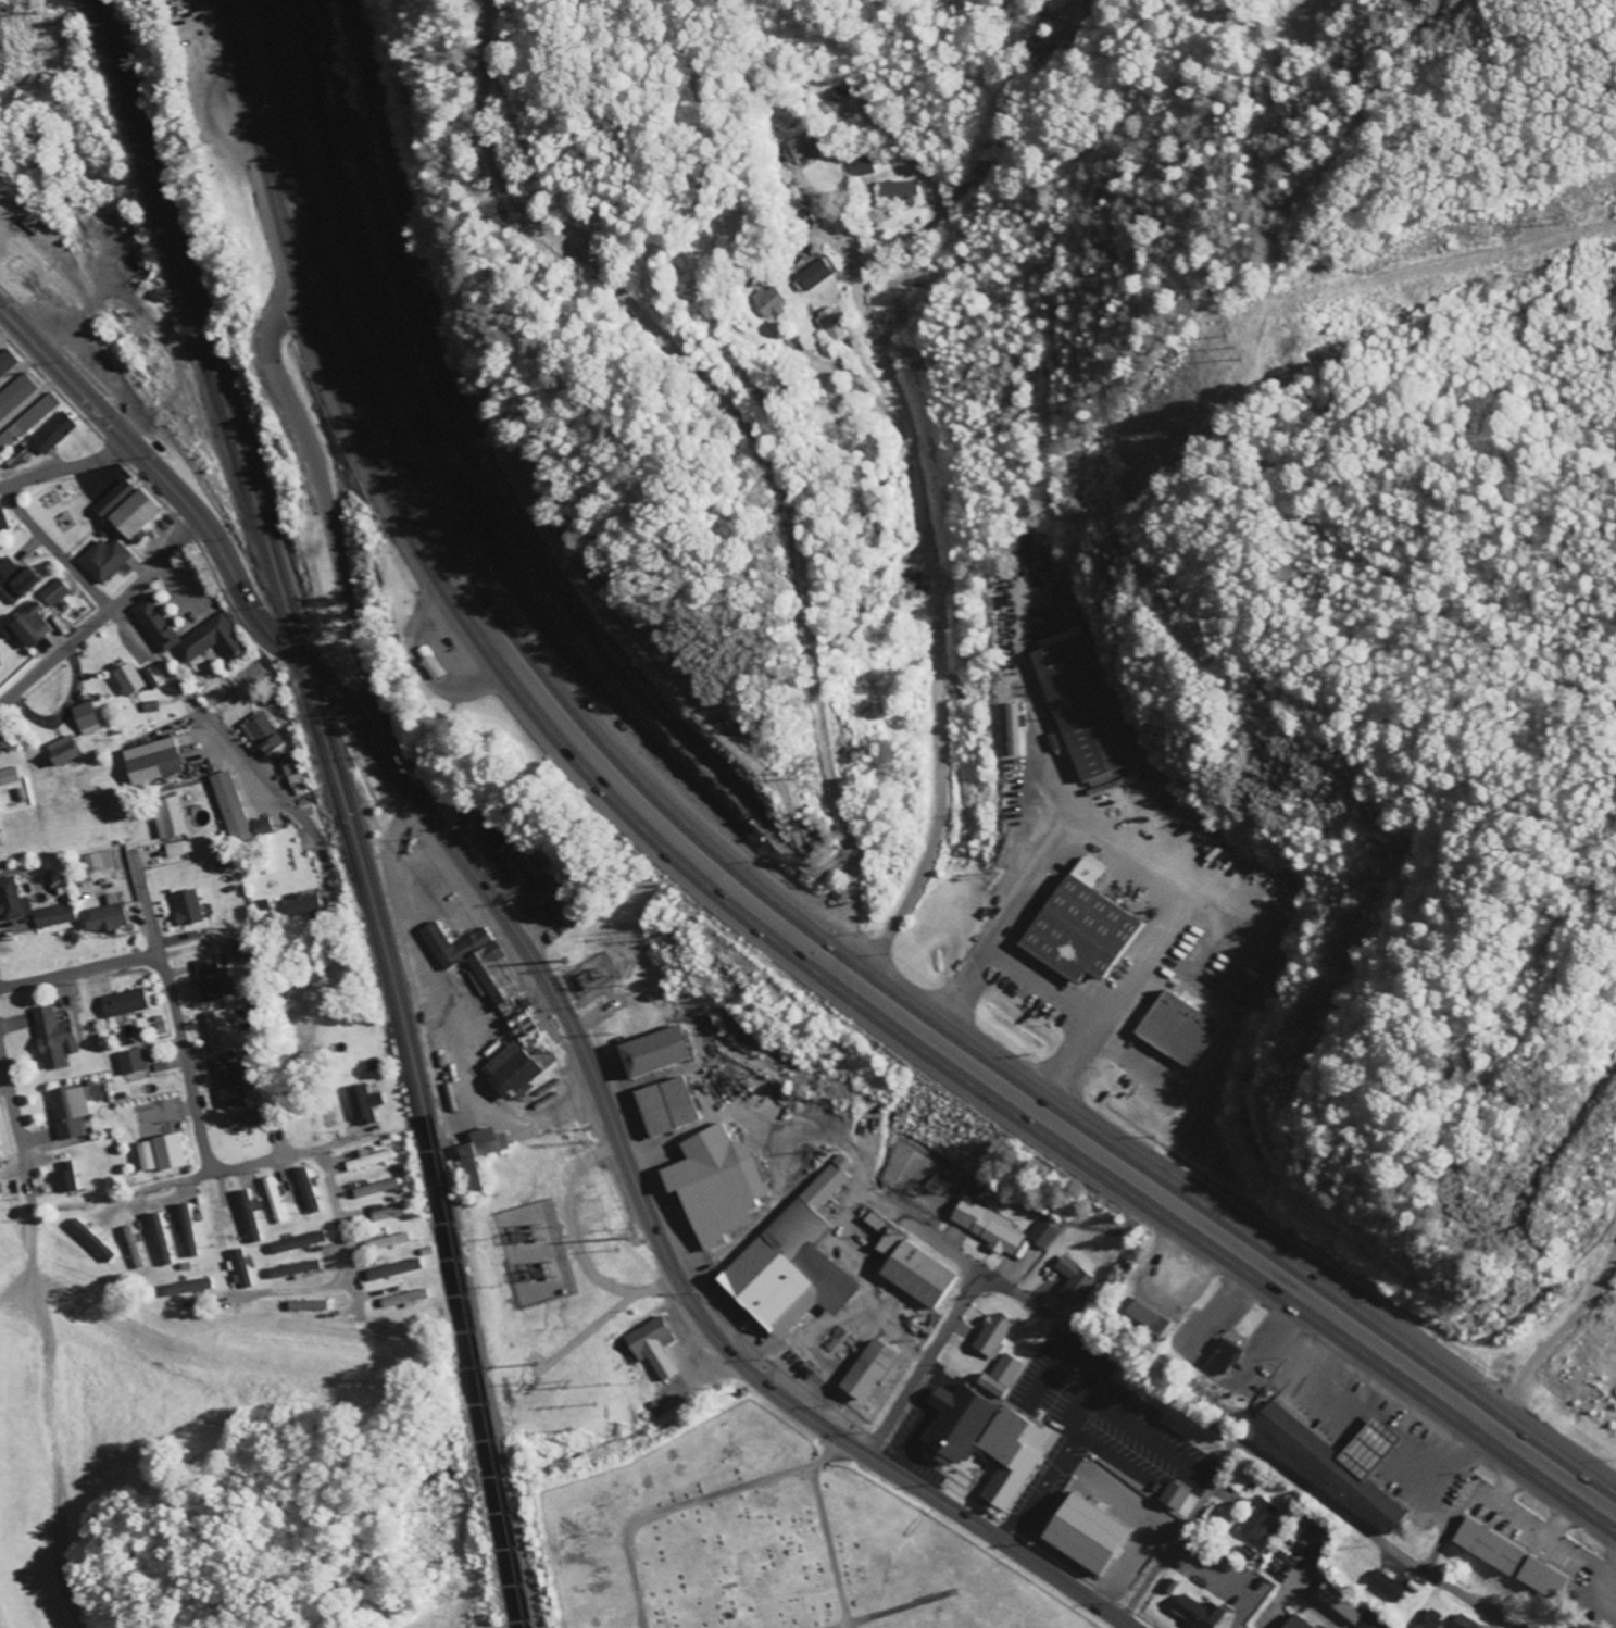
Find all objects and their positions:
road: (994, 146)
building: (799, 148)
building: (861, 165)
building: (898, 191)
building: (813, 274)
building: (767, 301)
building: (830, 322)
building: (5, 361)
building: (15, 393)
building: (27, 422)
building: (52, 433)
road: (64, 468)
road: (323, 491)
building: (126, 511)
building: (2, 522)
building: (103, 560)
road: (931, 577)
building: (16, 579)
building: (54, 592)
road: (103, 614)
building: (29, 625)
building: (187, 636)
building: (435, 666)
road: (171, 677)
building: (126, 678)
building: (147, 678)
building: (1080, 704)
building: (84, 718)
building: (1014, 729)
building: (261, 731)
building: (60, 751)
building: (150, 761)
building: (9, 776)
building: (293, 778)
building: (229, 806)
railway: (338, 806)
building: (167, 819)
building: (260, 826)
building: (492, 830)
building: (177, 848)
building: (97, 862)
road: (762, 888)
building: (549, 898)
building: (12, 900)
building: (301, 905)
building: (185, 907)
road: (738, 914)
building: (53, 915)
building: (104, 917)
building: (1083, 929)
building: (473, 963)
building: (208, 980)
road: (171, 991)
road: (550, 991)
building: (123, 1002)
building: (1176, 1029)
building: (220, 1031)
building: (53, 1038)
building: (653, 1050)
building: (131, 1062)
building: (515, 1069)
building: (229, 1084)
building: (665, 1101)
building: (361, 1104)
building: (68, 1111)
building: (242, 1120)
road: (18, 1126)
building: (168, 1152)
road: (306, 1152)
building: (477, 1154)
building: (145, 1156)
building: (368, 1159)
building: (0, 1166)
building: (64, 1178)
building: (717, 1181)
building: (376, 1188)
building: (306, 1190)
building: (275, 1200)
building: (386, 1212)
building: (250, 1217)
building: (986, 1226)
building: (187, 1230)
building: (1040, 1235)
building: (91, 1239)
building: (161, 1239)
building: (388, 1241)
building: (298, 1242)
building: (135, 1247)
building: (791, 1262)
building: (910, 1267)
building: (241, 1269)
building: (295, 1269)
building: (392, 1269)
building: (1073, 1282)
building: (188, 1288)
road: (286, 1289)
building: (404, 1298)
park: (579, 1298)
building: (309, 1305)
building: (1148, 1317)
road: (1562, 1328)
building: (990, 1336)
building: (652, 1347)
building: (1220, 1357)
road: (924, 1361)
building: (866, 1370)
building: (999, 1376)
road: (1202, 1418)
building: (984, 1443)
building: (1338, 1462)
building: (1172, 1496)
road: (690, 1500)
building: (1257, 1519)
road: (1177, 1531)
building: (1083, 1533)
park: (757, 1540)
building: (1508, 1560)
building: (1168, 1587)
building: (1386, 1587)
road: (935, 1596)
building: (1337, 1603)
building: (1195, 1613)
building: (1427, 1620)
building: (1293, 1623)
building: (1369, 1623)
building: (1462, 1623)
road: (1125, 1625)
building: (1513, 1627)

